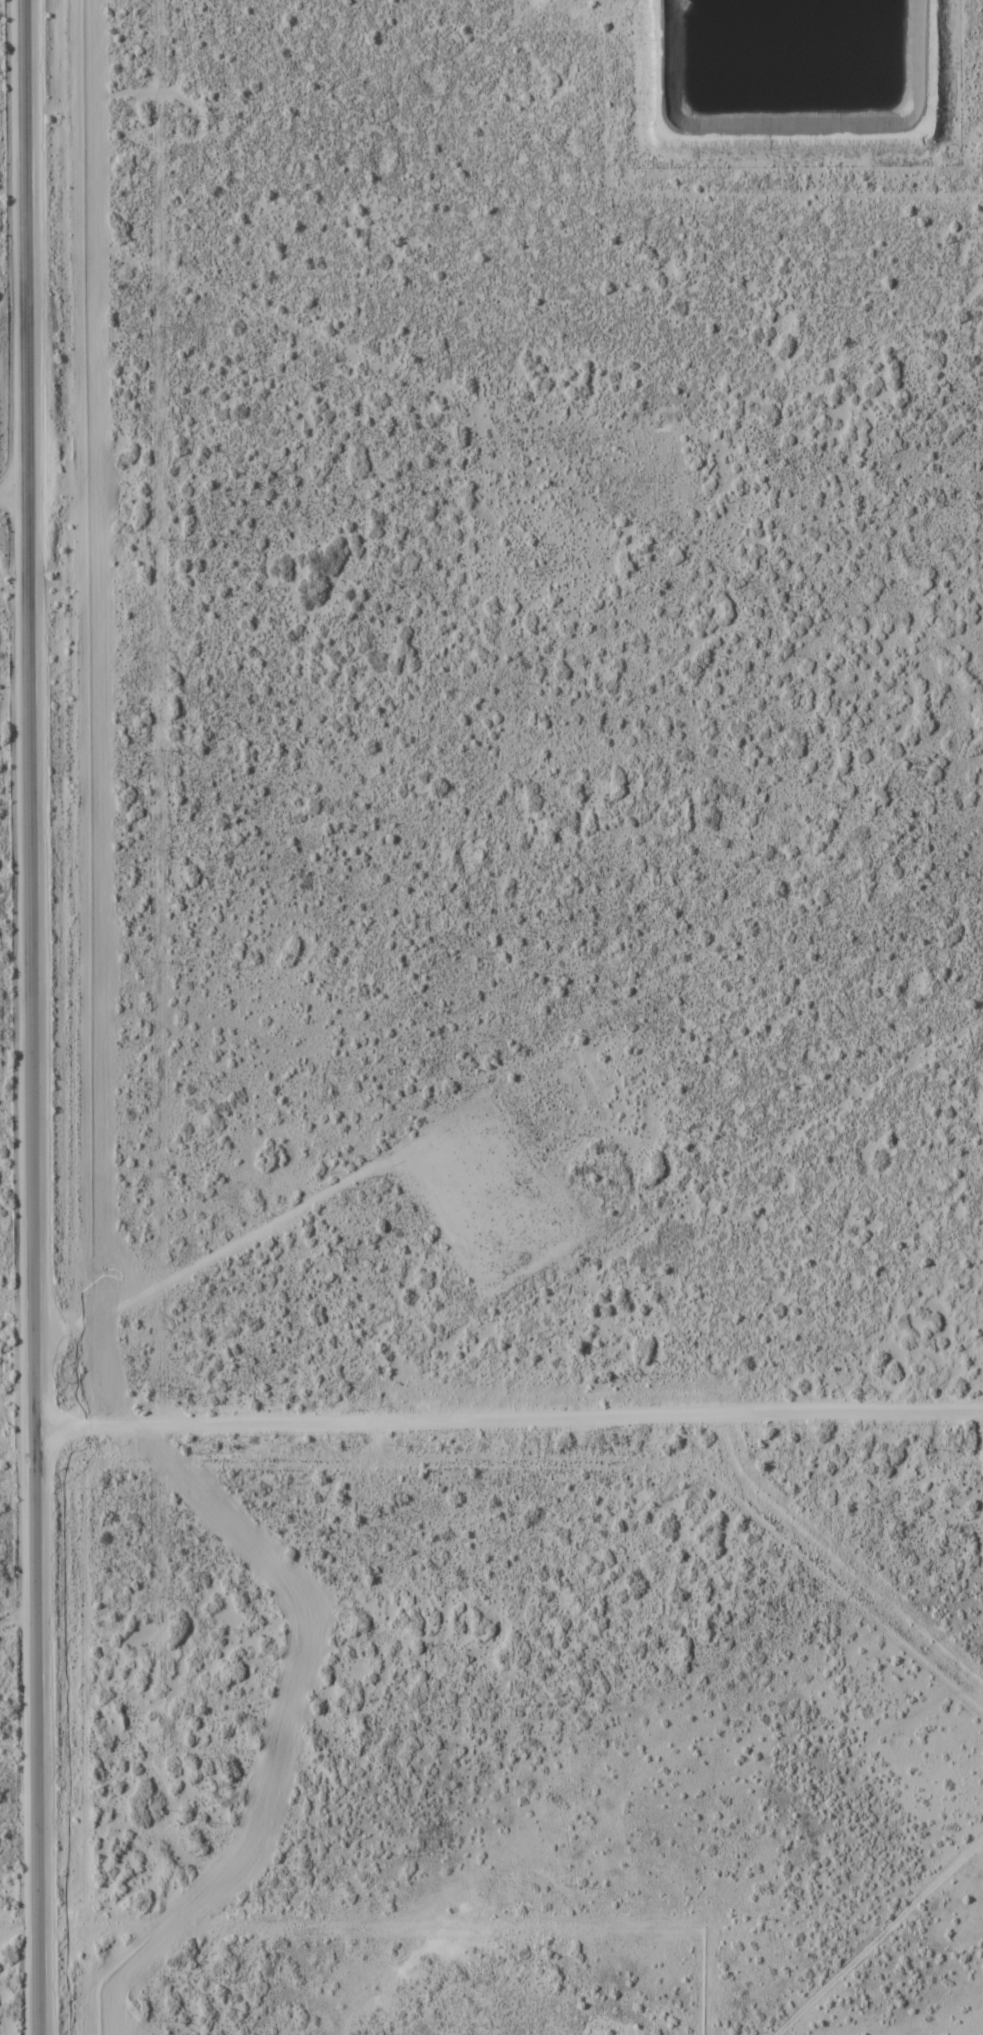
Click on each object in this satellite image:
road: (13, 481)
road: (31, 1017)
road: (305, 1214)
road: (508, 1415)

